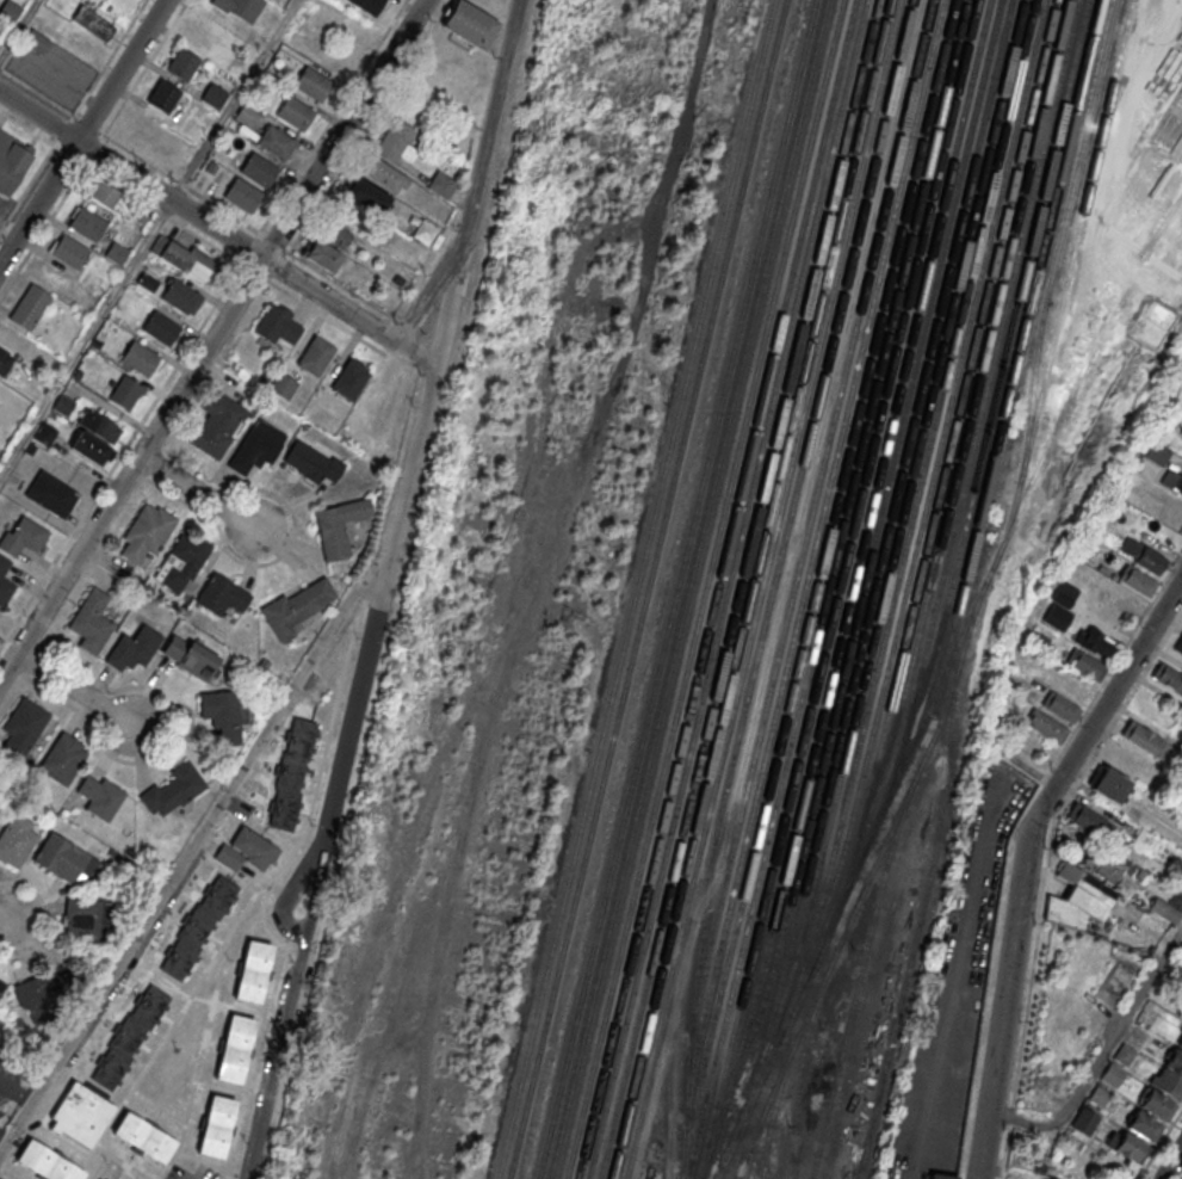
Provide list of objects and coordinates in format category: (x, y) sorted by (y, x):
building: (367, 5)
building: (240, 8)
building: (93, 25)
building: (470, 26)
road: (19, 31)
building: (202, 33)
building: (36, 42)
road: (110, 57)
building: (182, 66)
parking lot: (52, 74)
building: (312, 85)
building: (163, 98)
building: (213, 98)
road: (235, 100)
building: (297, 115)
building: (246, 116)
road: (369, 126)
road: (83, 132)
building: (396, 140)
building: (277, 142)
road: (55, 146)
building: (11, 163)
building: (259, 171)
building: (382, 177)
building: (441, 185)
building: (104, 193)
building: (243, 195)
road: (284, 195)
building: (367, 195)
building: (86, 222)
road: (216, 229)
building: (425, 232)
building: (336, 234)
building: (68, 251)
building: (116, 253)
building: (323, 255)
building: (184, 257)
road: (428, 273)
building: (181, 298)
building: (30, 309)
building: (277, 327)
building: (162, 331)
building: (10, 337)
road: (86, 338)
road: (212, 339)
railway: (1014, 356)
building: (316, 358)
building: (141, 360)
building: (4, 362)
building: (349, 382)
road: (166, 383)
railway: (995, 383)
building: (126, 393)
railway: (978, 409)
building: (215, 425)
building: (44, 434)
building: (94, 437)
railway: (960, 437)
building: (256, 449)
railway: (943, 463)
building: (312, 464)
building: (1172, 482)
railway: (924, 490)
road: (199, 492)
building: (51, 496)
railway: (807, 517)
railway: (906, 521)
railway: (896, 527)
building: (339, 529)
building: (147, 535)
building: (24, 539)
railway: (868, 550)
railway: (810, 555)
building: (1141, 555)
building: (181, 563)
railway: (875, 567)
building: (1137, 580)
railway: (813, 581)
building: (5, 584)
railway: (771, 585)
road: (380, 588)
railway: (633, 588)
railway: (822, 588)
railway: (644, 589)
railway: (673, 589)
railway: (685, 589)
railway: (703, 589)
railway: (713, 589)
railway: (724, 589)
railway: (735, 589)
railway: (747, 589)
railway: (757, 589)
railway: (834, 589)
railway: (848, 591)
building: (222, 597)
building: (1060, 605)
building: (296, 610)
railway: (967, 616)
building: (91, 621)
building: (1036, 640)
building: (1096, 641)
building: (1178, 644)
building: (132, 648)
building: (190, 655)
building: (1085, 663)
building: (1169, 677)
building: (1073, 685)
road: (75, 689)
building: (1060, 706)
building: (223, 714)
building: (1046, 726)
building: (23, 727)
building: (1145, 739)
building: (63, 758)
building: (292, 773)
building: (1110, 784)
building: (173, 789)
building: (99, 796)
building: (1089, 820)
building: (17, 839)
road: (187, 847)
building: (247, 850)
building: (63, 859)
road: (1025, 860)
building: (1103, 865)
railway: (924, 881)
building: (1079, 899)
building: (1165, 911)
railway: (849, 915)
road: (44, 919)
road: (7, 921)
building: (87, 924)
building: (198, 926)
railway: (389, 953)
building: (253, 970)
railway: (856, 973)
building: (50, 994)
building: (129, 1036)
building: (1180, 1042)
building: (234, 1048)
road: (1100, 1053)
building: (1125, 1055)
building: (1175, 1061)
railway: (798, 1063)
building: (1112, 1075)
building: (1169, 1084)
building: (1103, 1099)
railway: (772, 1104)
building: (1157, 1104)
building: (81, 1113)
building: (1084, 1122)
building: (1144, 1125)
building: (215, 1126)
building: (144, 1136)
railway: (753, 1136)
railway: (763, 1147)
building: (1131, 1148)
building: (47, 1161)
road: (1170, 1161)
building: (1041, 1162)
road: (911, 1175)
building: (940, 1175)

